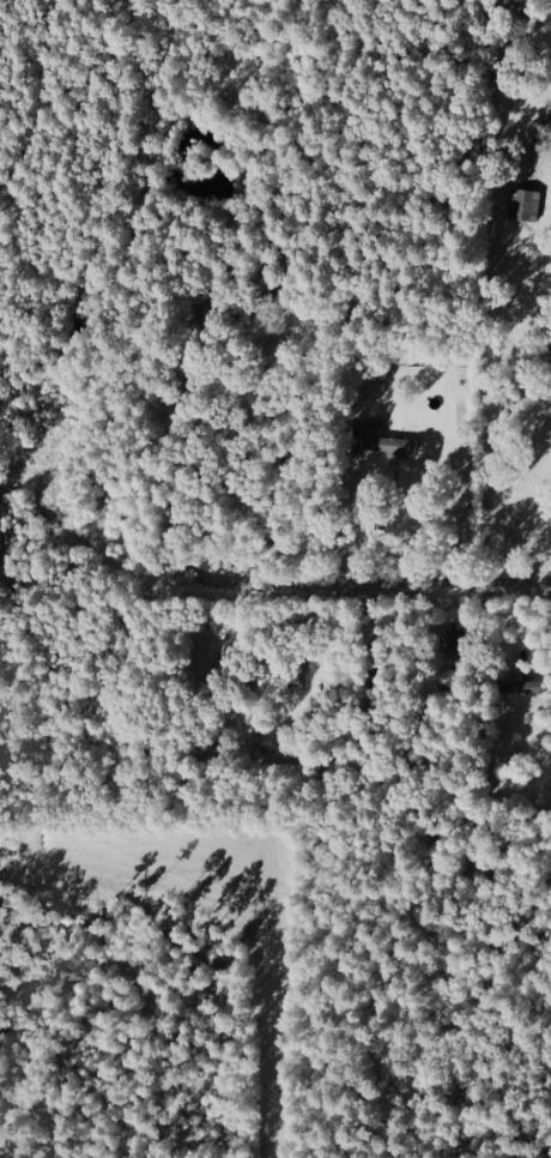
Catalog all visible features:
building: (523, 204)
building: (254, 279)
building: (388, 441)
road: (344, 515)
road: (387, 543)
road: (322, 592)
building: (283, 674)
building: (526, 686)

